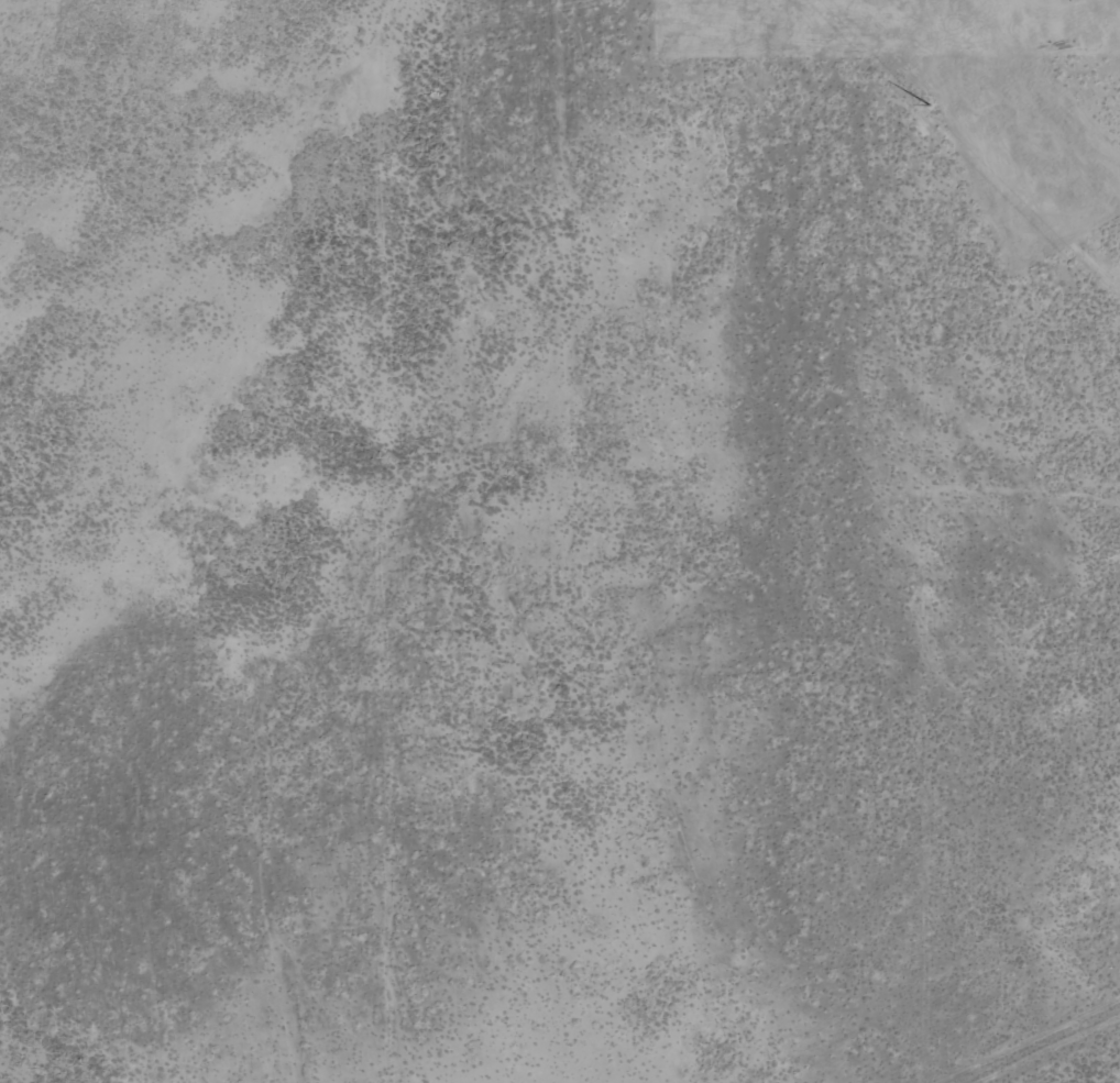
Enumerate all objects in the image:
power tower: (929, 104)

